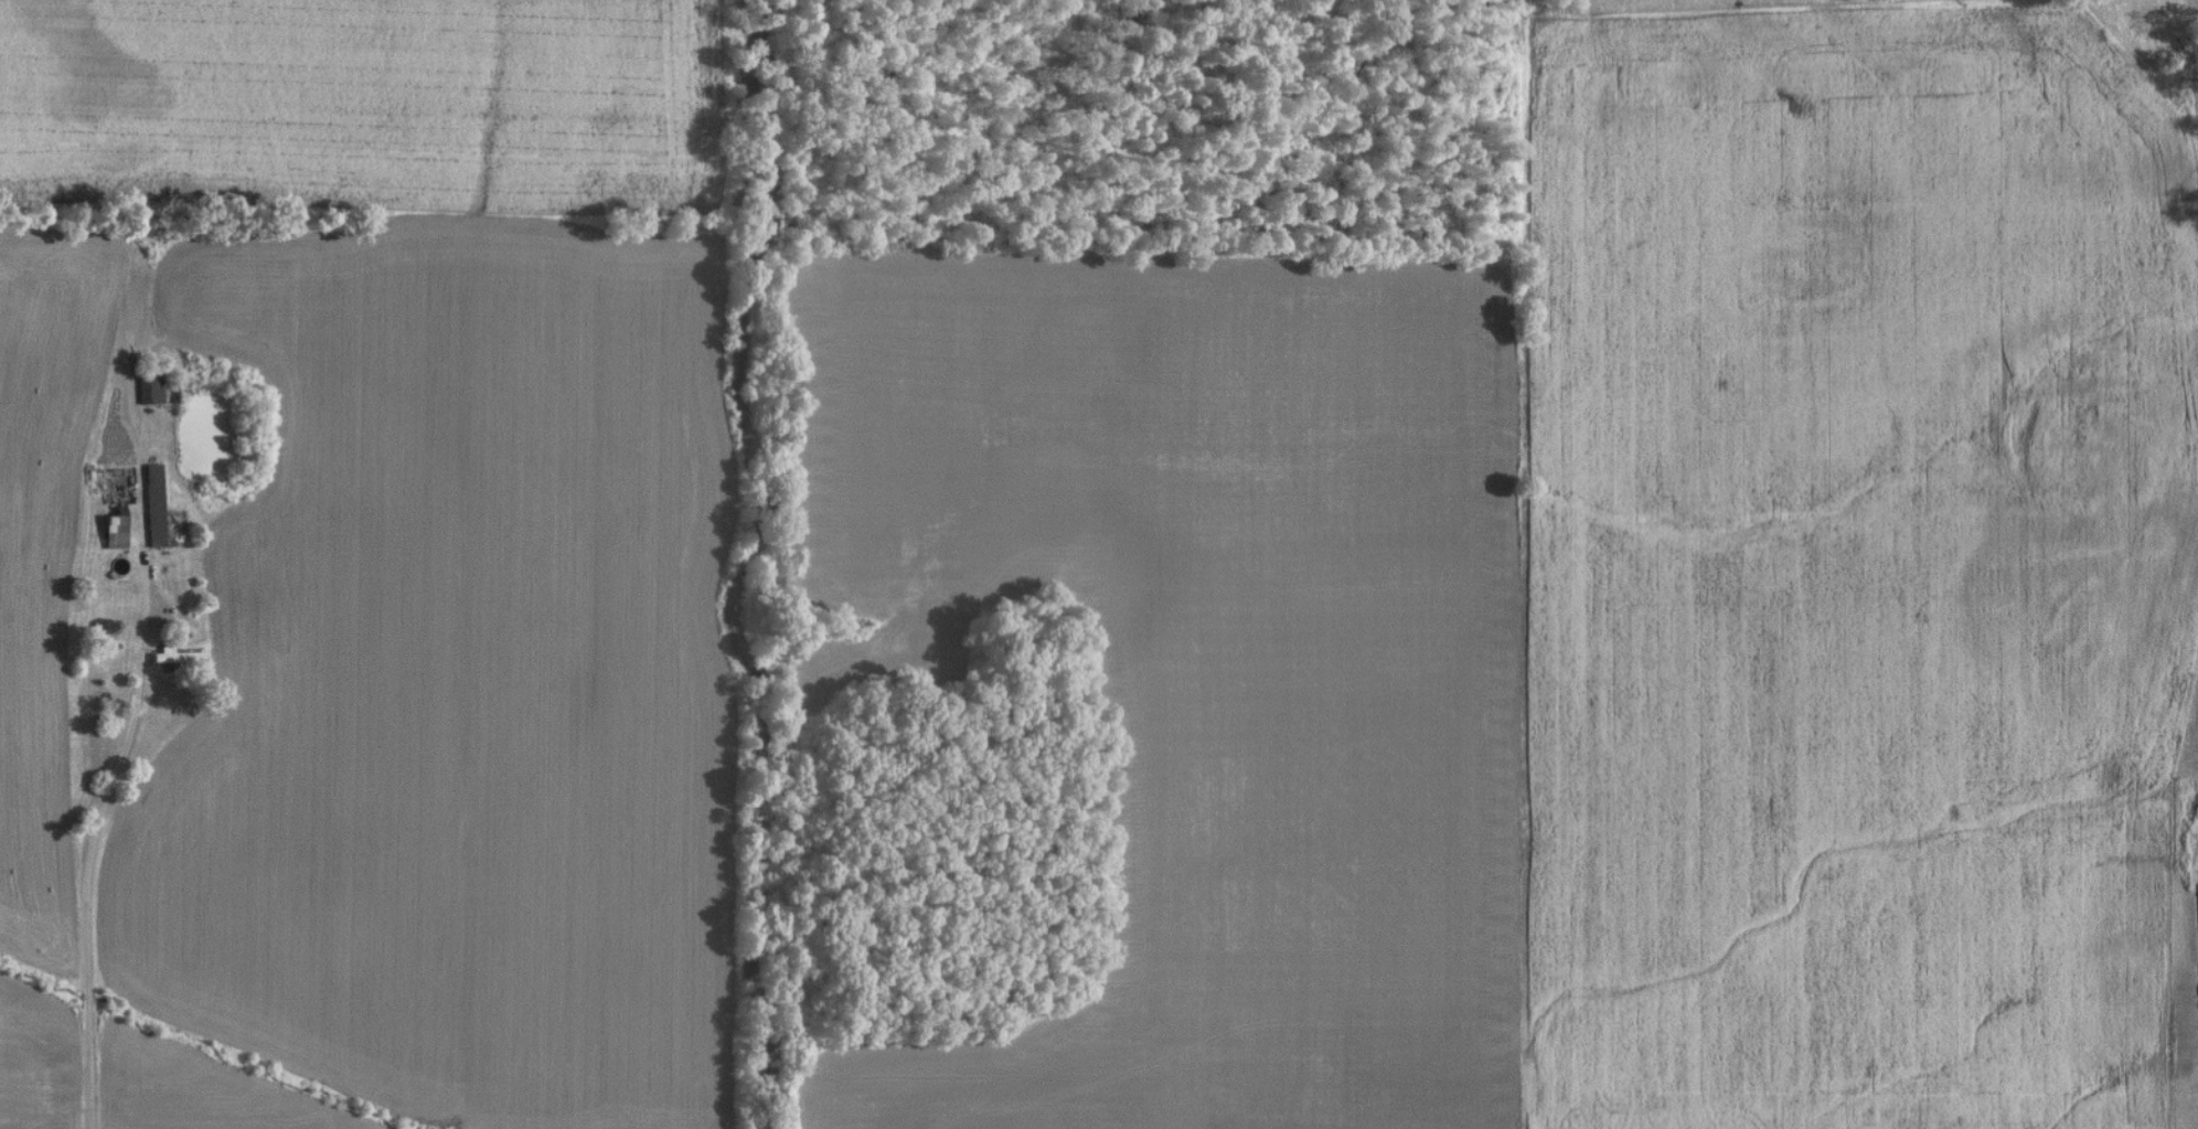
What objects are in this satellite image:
building: (147, 388)
building: (151, 508)
building: (111, 531)
building: (172, 661)
road: (100, 856)
building: (2196, 922)

